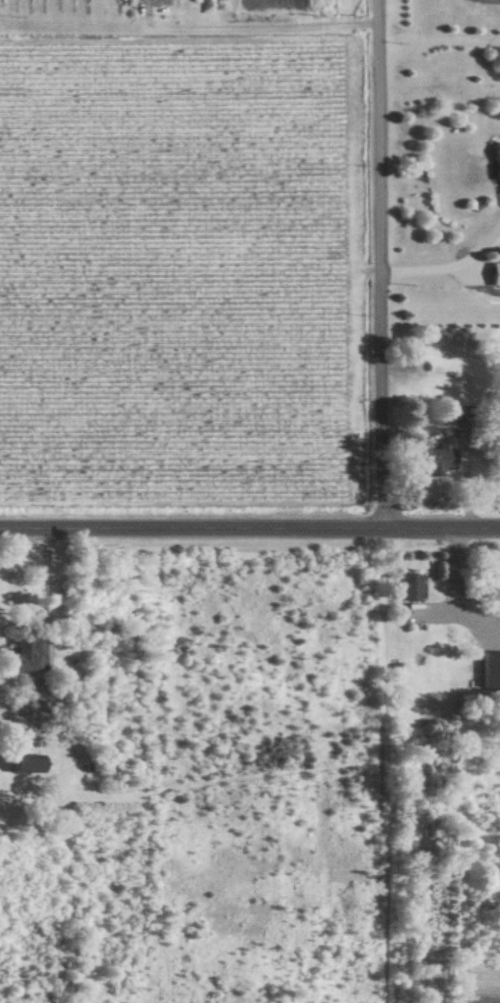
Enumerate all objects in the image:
building: (494, 164)
road: (385, 263)
road: (452, 268)
building: (492, 273)
building: (432, 459)
road: (250, 527)
road: (52, 585)
building: (404, 585)
road: (449, 595)
building: (27, 652)
building: (488, 667)
building: (32, 762)

